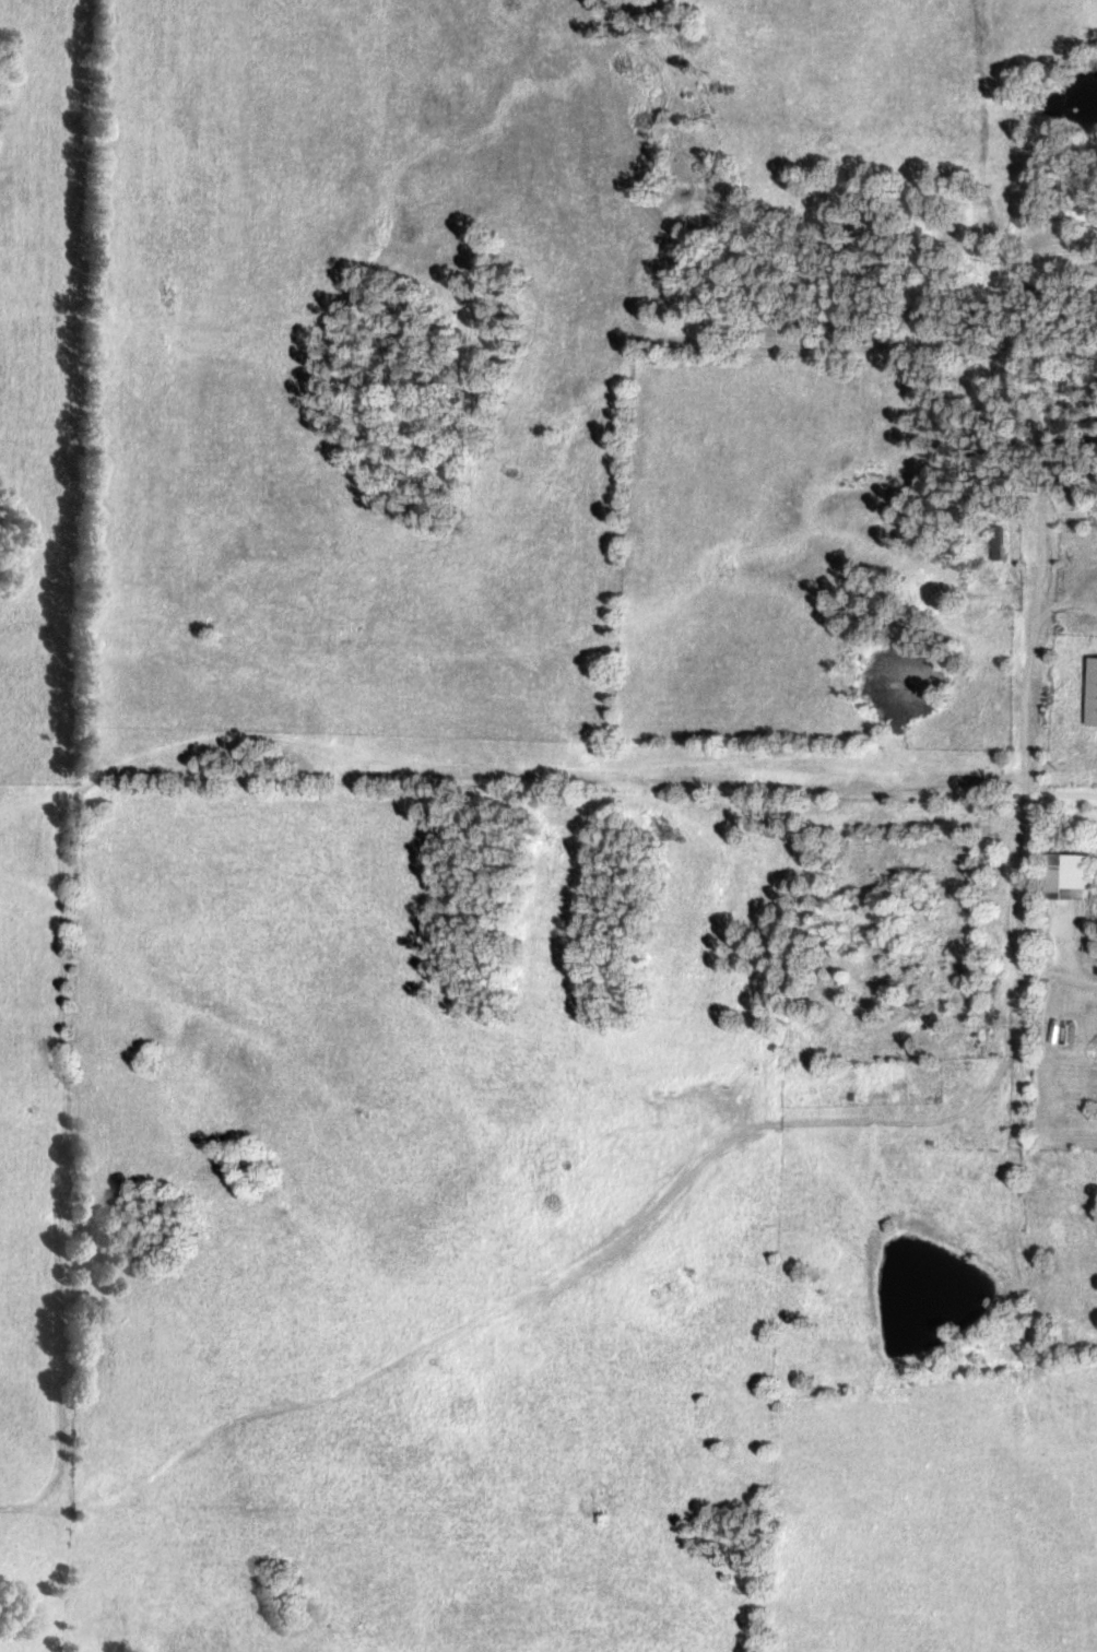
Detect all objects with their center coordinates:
building: (1077, 878)

